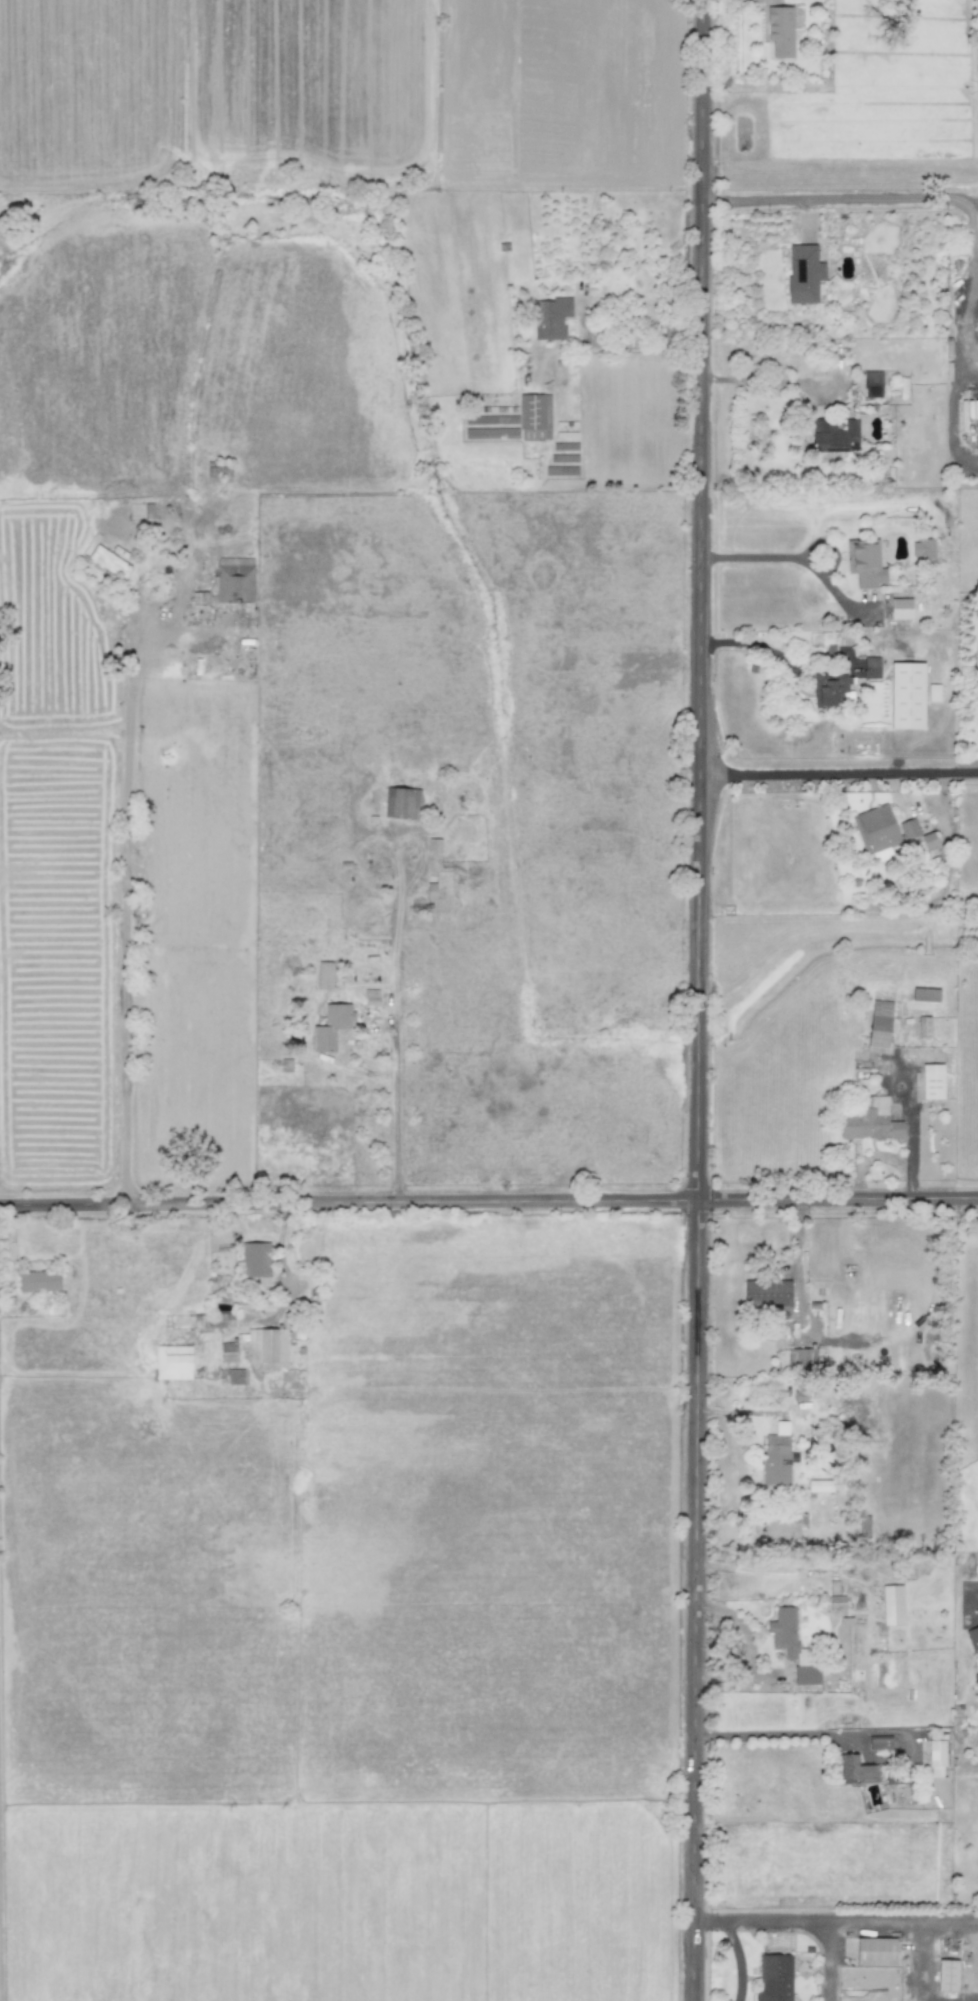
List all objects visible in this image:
building: (780, 30)
crop: (495, 108)
road: (923, 195)
building: (804, 272)
building: (551, 317)
building: (977, 325)
road: (643, 343)
road: (973, 377)
road: (767, 381)
building: (872, 383)
building: (535, 416)
road: (952, 423)
building: (835, 435)
road: (800, 556)
building: (109, 561)
building: (865, 562)
building: (235, 581)
building: (901, 607)
road: (756, 643)
building: (871, 666)
building: (829, 689)
building: (907, 694)
road: (839, 772)
building: (401, 802)
building: (875, 828)
building: (908, 828)
building: (928, 839)
building: (434, 844)
road: (125, 900)
building: (324, 974)
building: (371, 995)
road: (700, 1000)
building: (331, 1026)
building: (932, 1081)
road: (395, 1111)
building: (870, 1119)
road: (489, 1200)
building: (255, 1258)
road: (798, 1261)
building: (39, 1280)
building: (766, 1291)
building: (254, 1303)
building: (218, 1320)
building: (264, 1347)
building: (228, 1351)
building: (800, 1357)
building: (173, 1361)
building: (235, 1376)
road: (747, 1411)
crop: (311, 1424)
building: (778, 1457)
building: (819, 1485)
building: (784, 1525)
road: (721, 1564)
building: (892, 1604)
building: (973, 1636)
building: (792, 1644)
road: (748, 1647)
road: (779, 1737)
building: (880, 1742)
building: (936, 1757)
building: (856, 1768)
road: (832, 1921)
building: (875, 1950)
road: (739, 1959)
road: (831, 1961)
road: (924, 1964)
building: (947, 1974)
building: (775, 1977)

